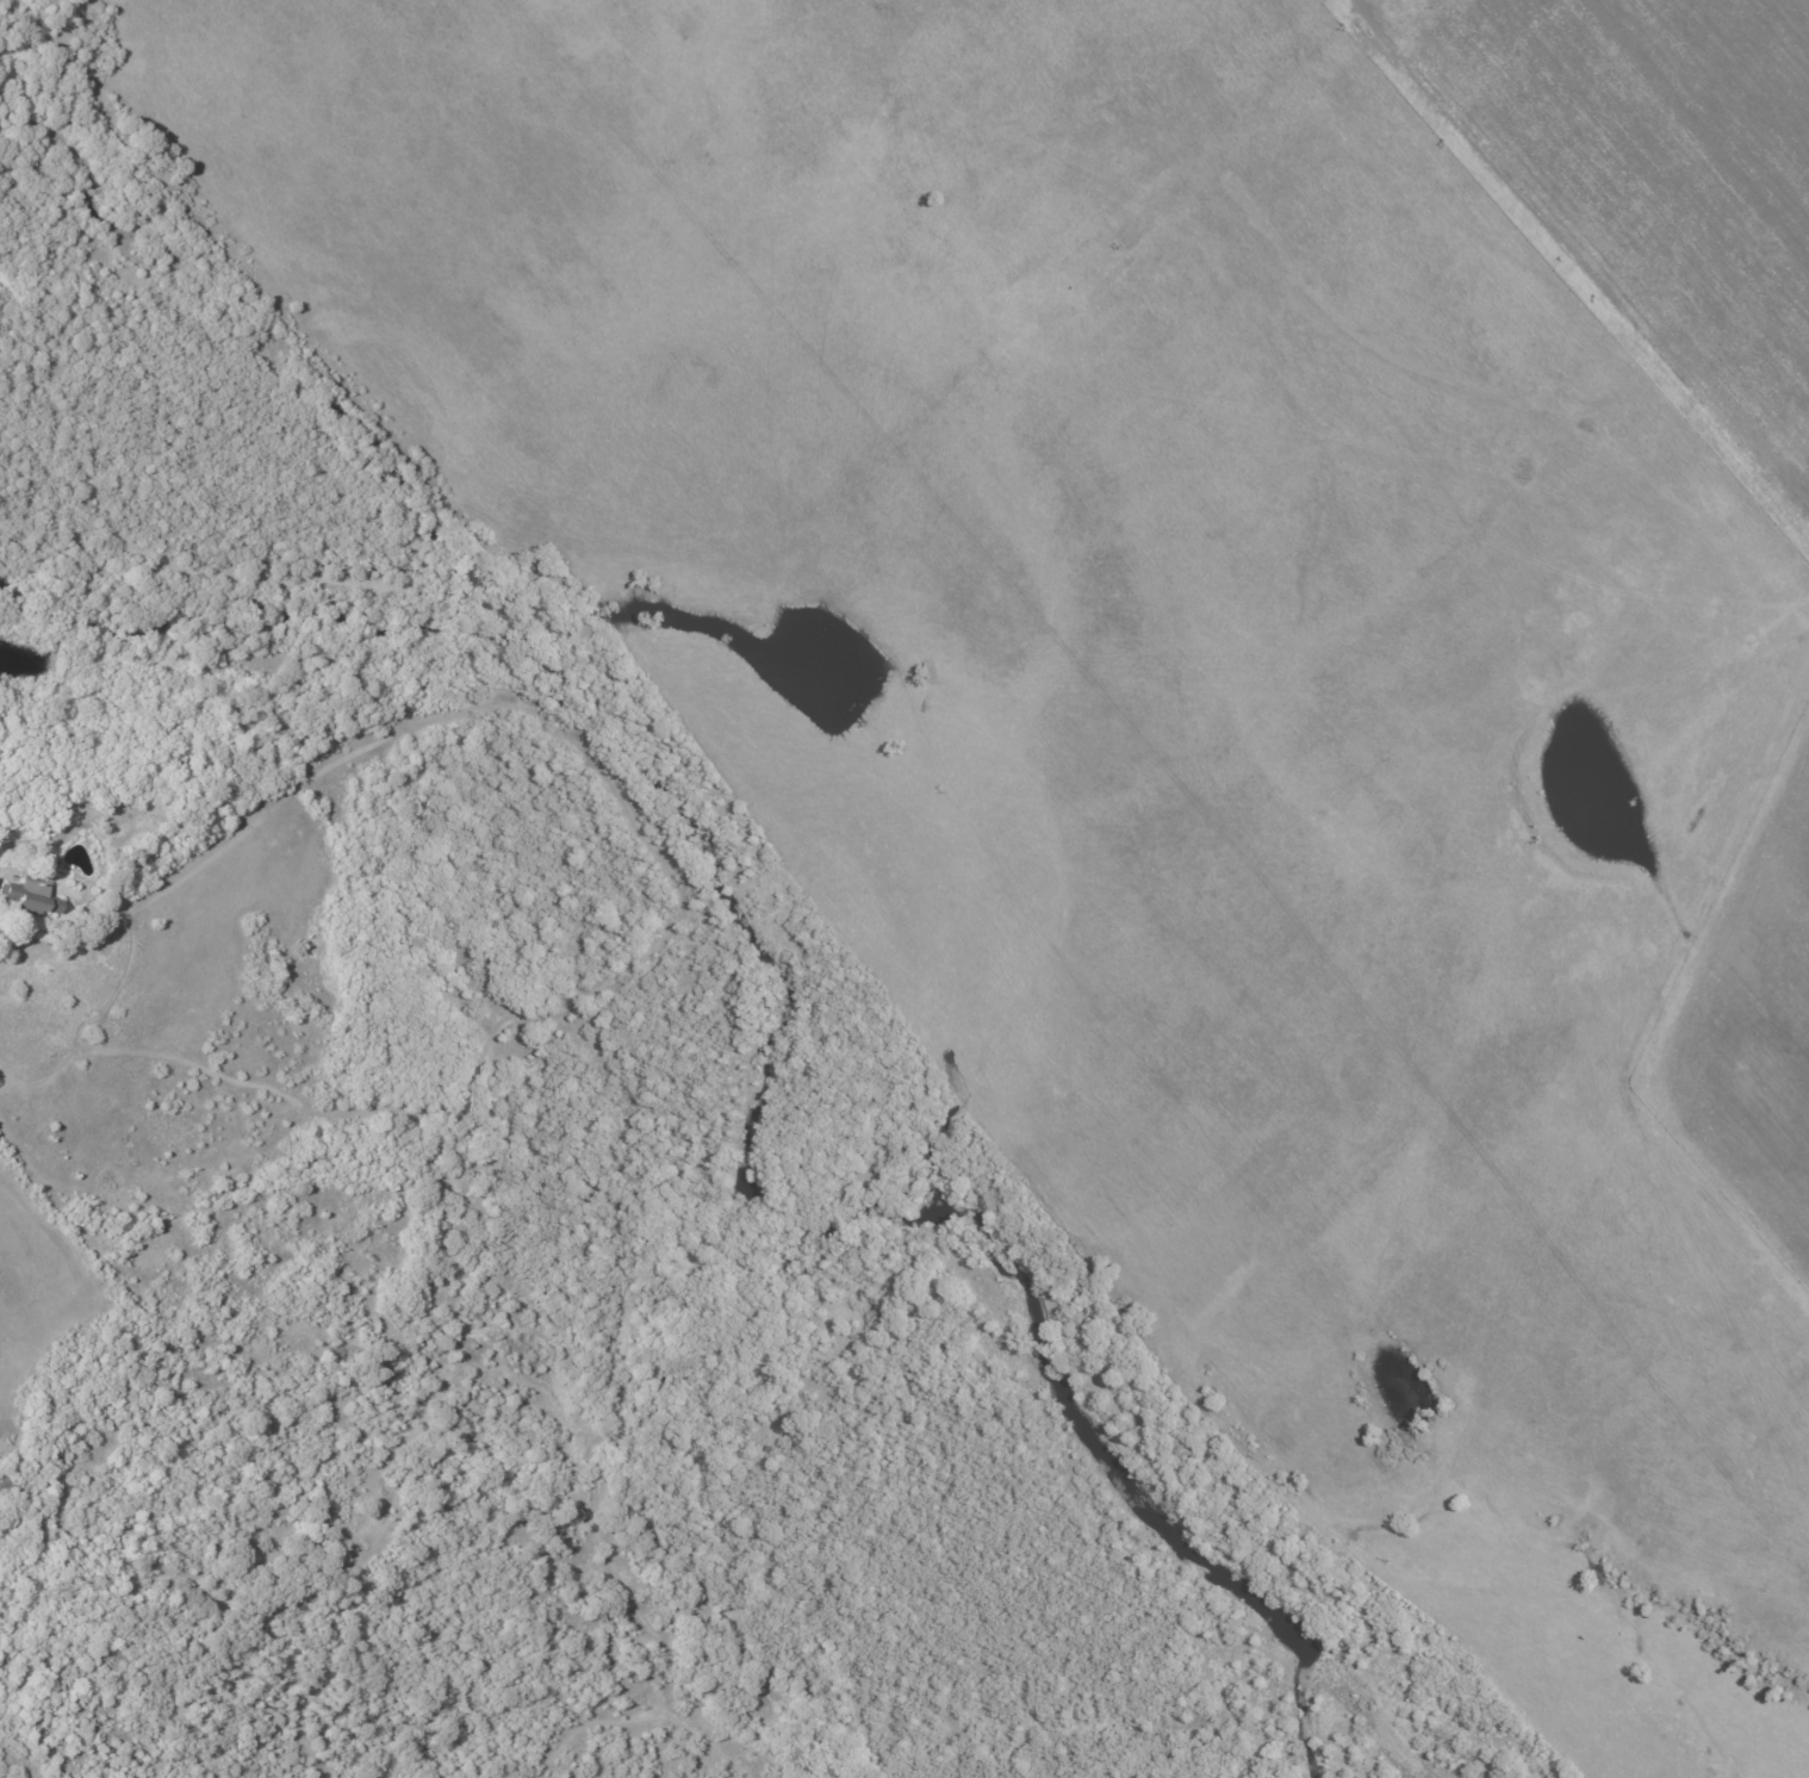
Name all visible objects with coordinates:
building: (31, 895)

